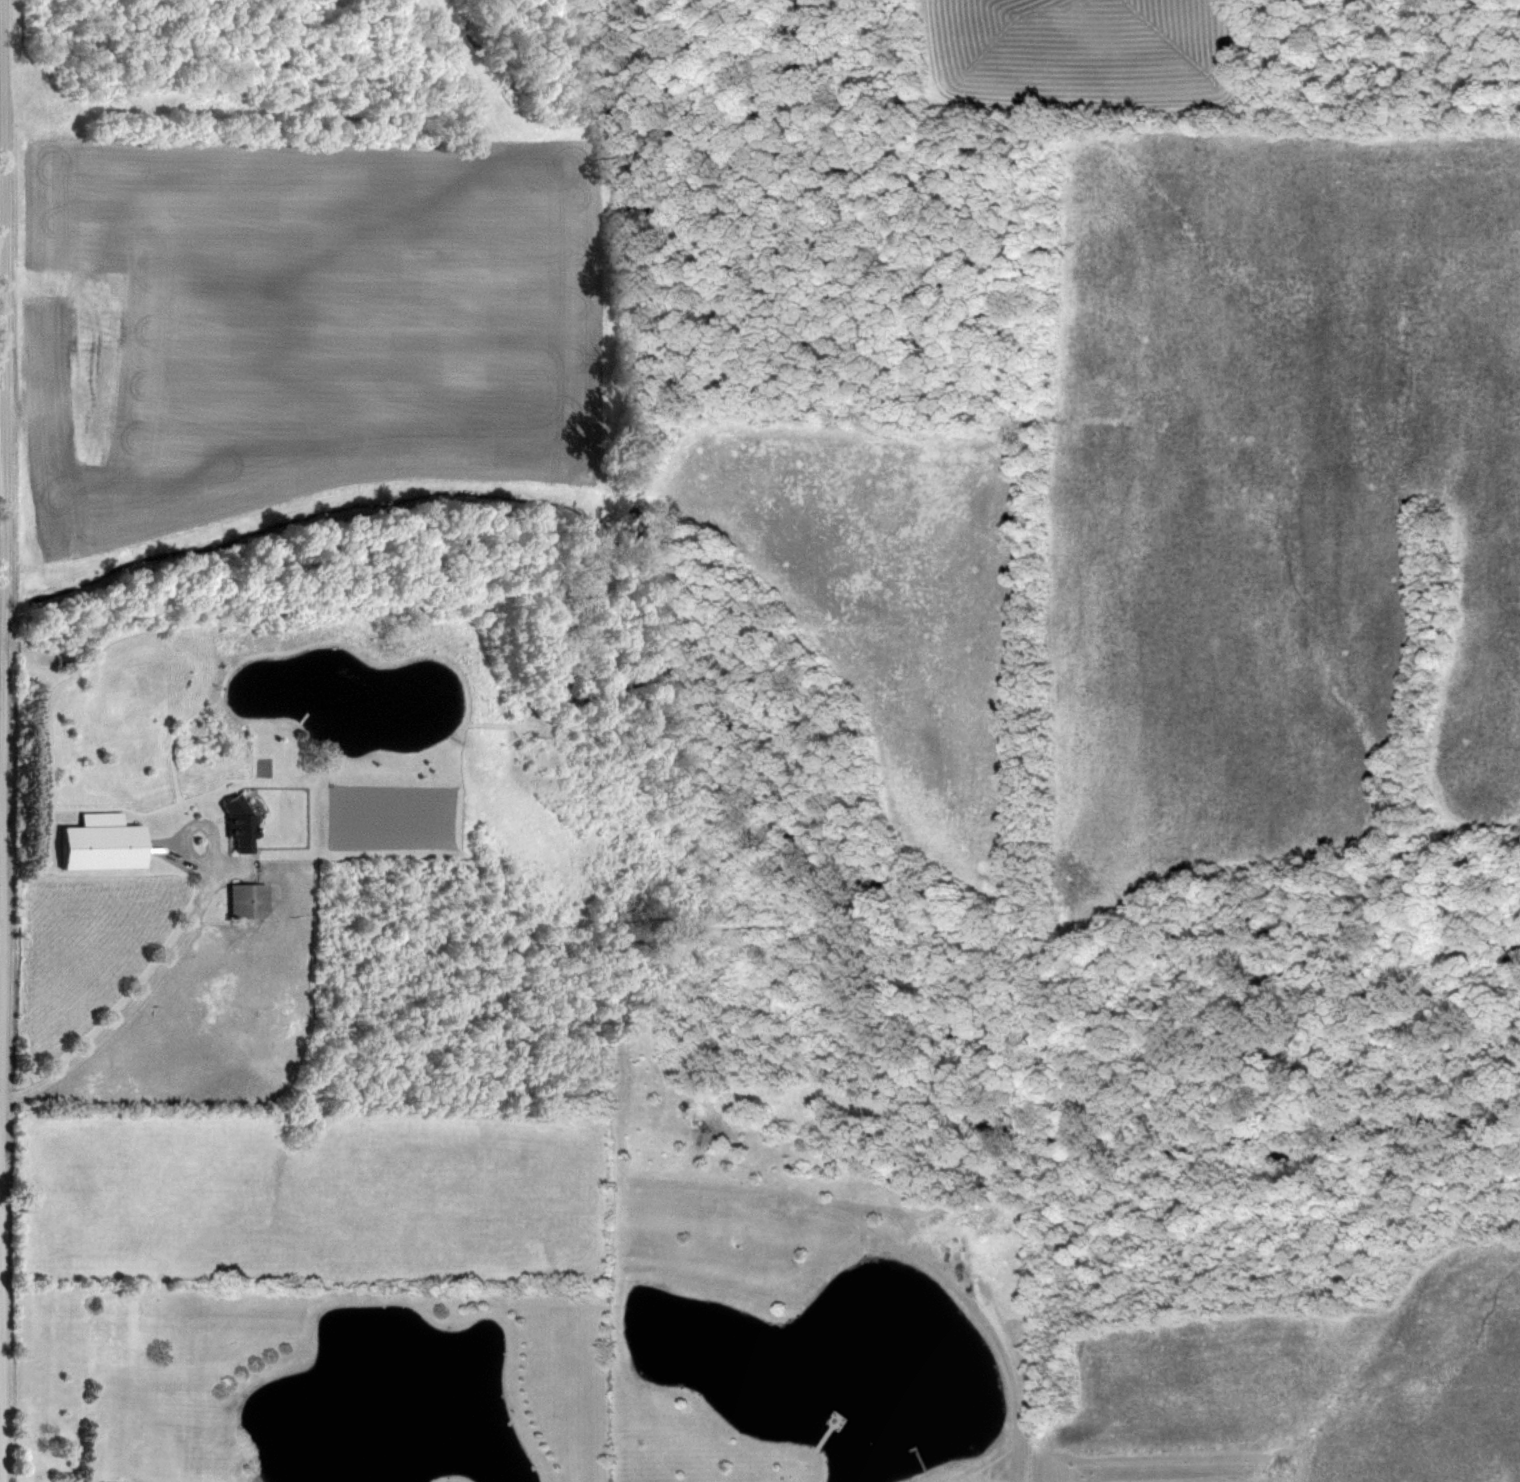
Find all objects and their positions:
building: (59, 659)
road: (2, 740)
building: (235, 822)
building: (243, 899)
road: (1, 914)
road: (129, 1005)

